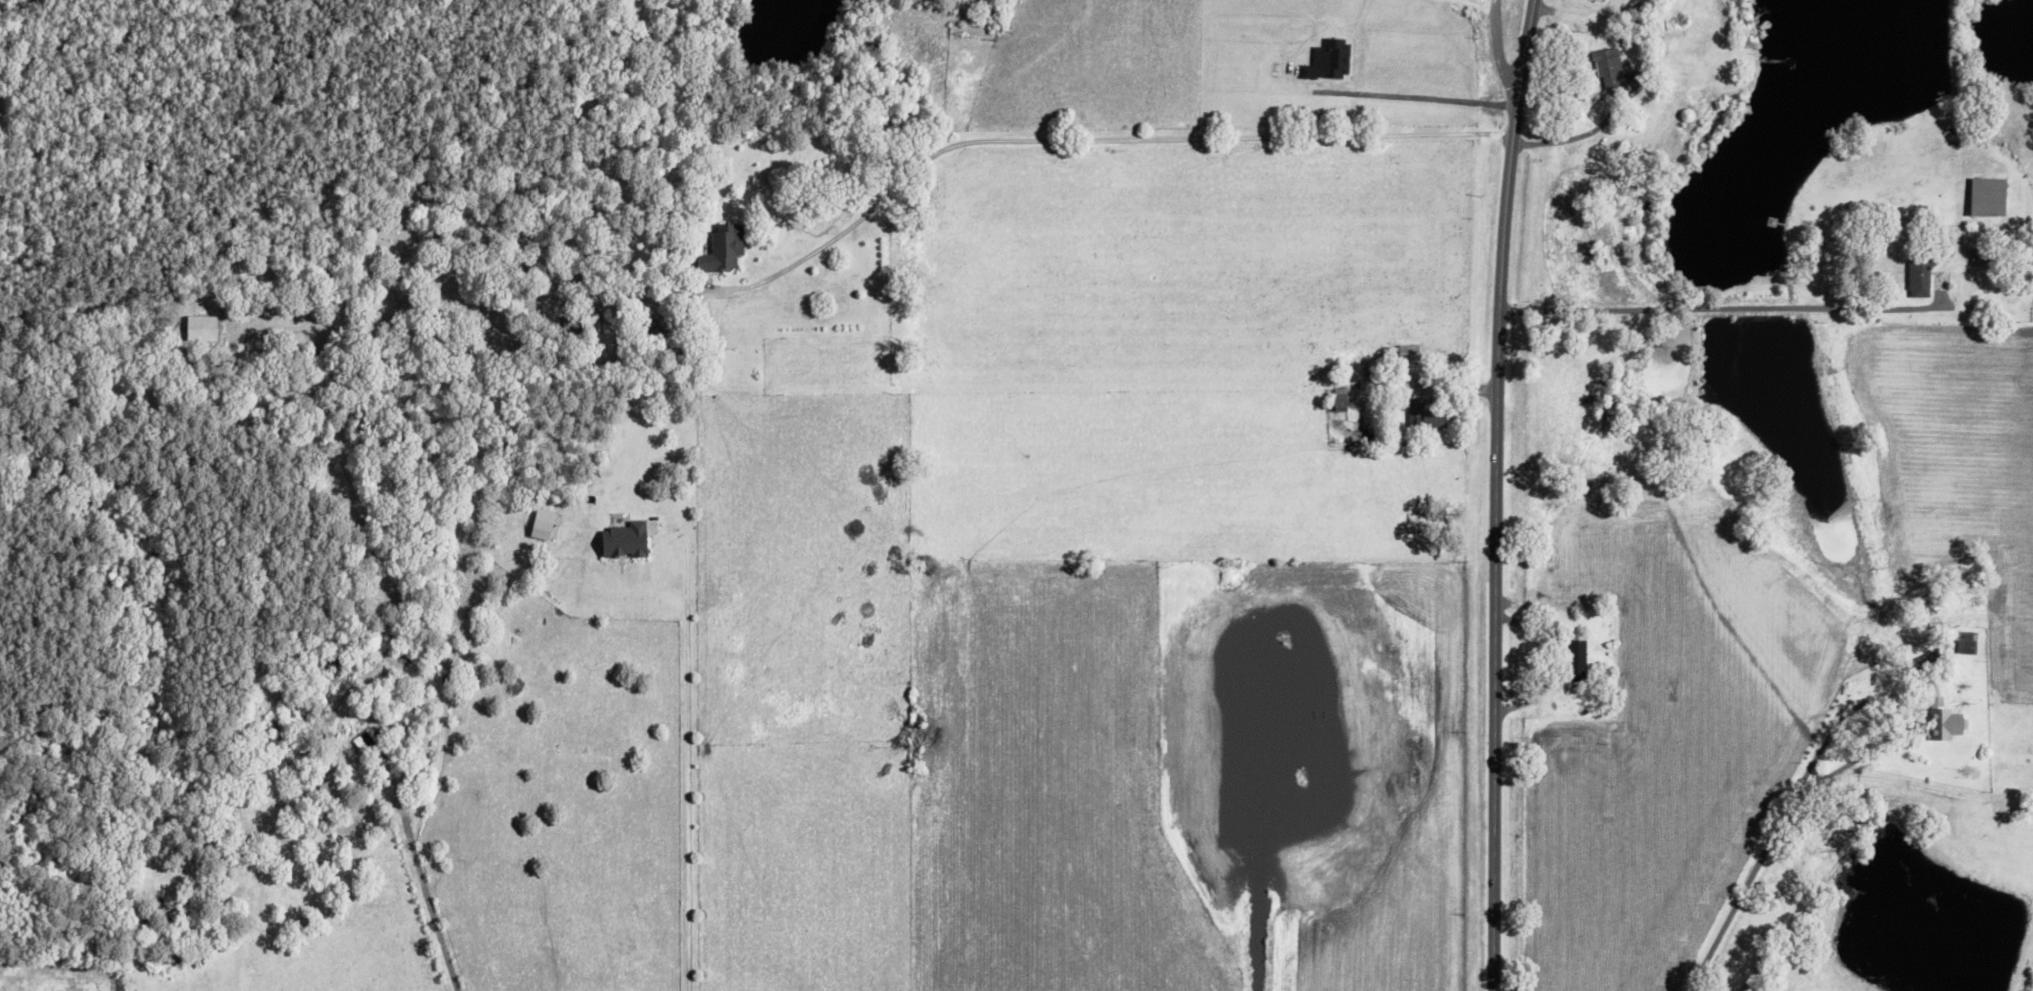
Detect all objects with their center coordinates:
road: (1507, 49)
building: (1613, 68)
road: (1574, 136)
road: (1094, 139)
building: (1991, 196)
building: (726, 248)
building: (1979, 255)
building: (1921, 278)
road: (1695, 310)
building: (1409, 353)
road: (1453, 387)
building: (1342, 400)
building: (1426, 416)
road: (1497, 494)
building: (546, 525)
building: (627, 540)
building: (1968, 643)
building: (1579, 661)
building: (1948, 724)
road: (683, 745)
road: (1777, 830)
road: (427, 891)

